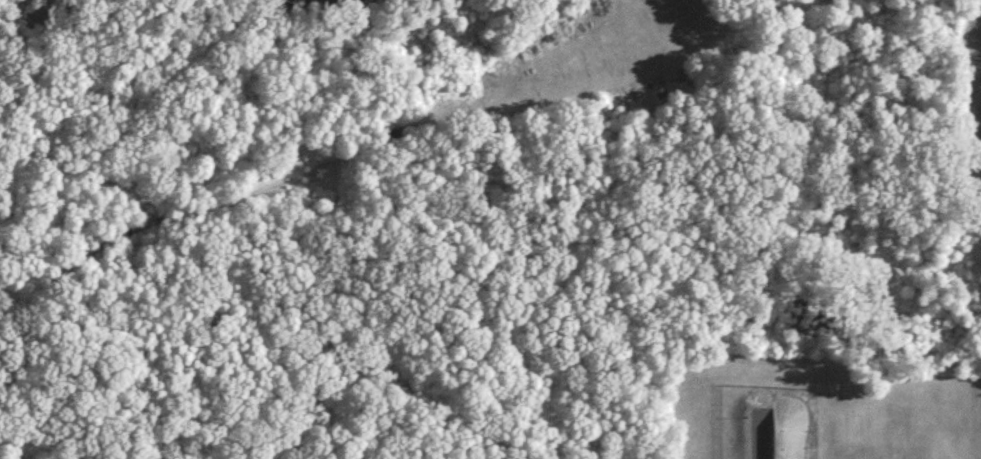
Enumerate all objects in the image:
road: (636, 29)
road: (396, 127)
building: (787, 433)

